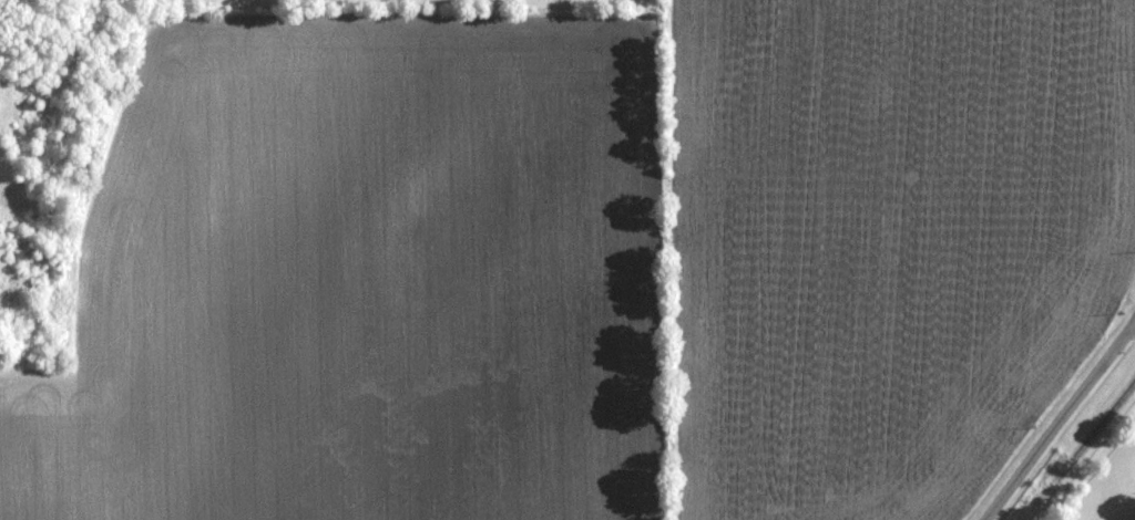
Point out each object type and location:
road: (1060, 419)
railway: (1047, 491)

